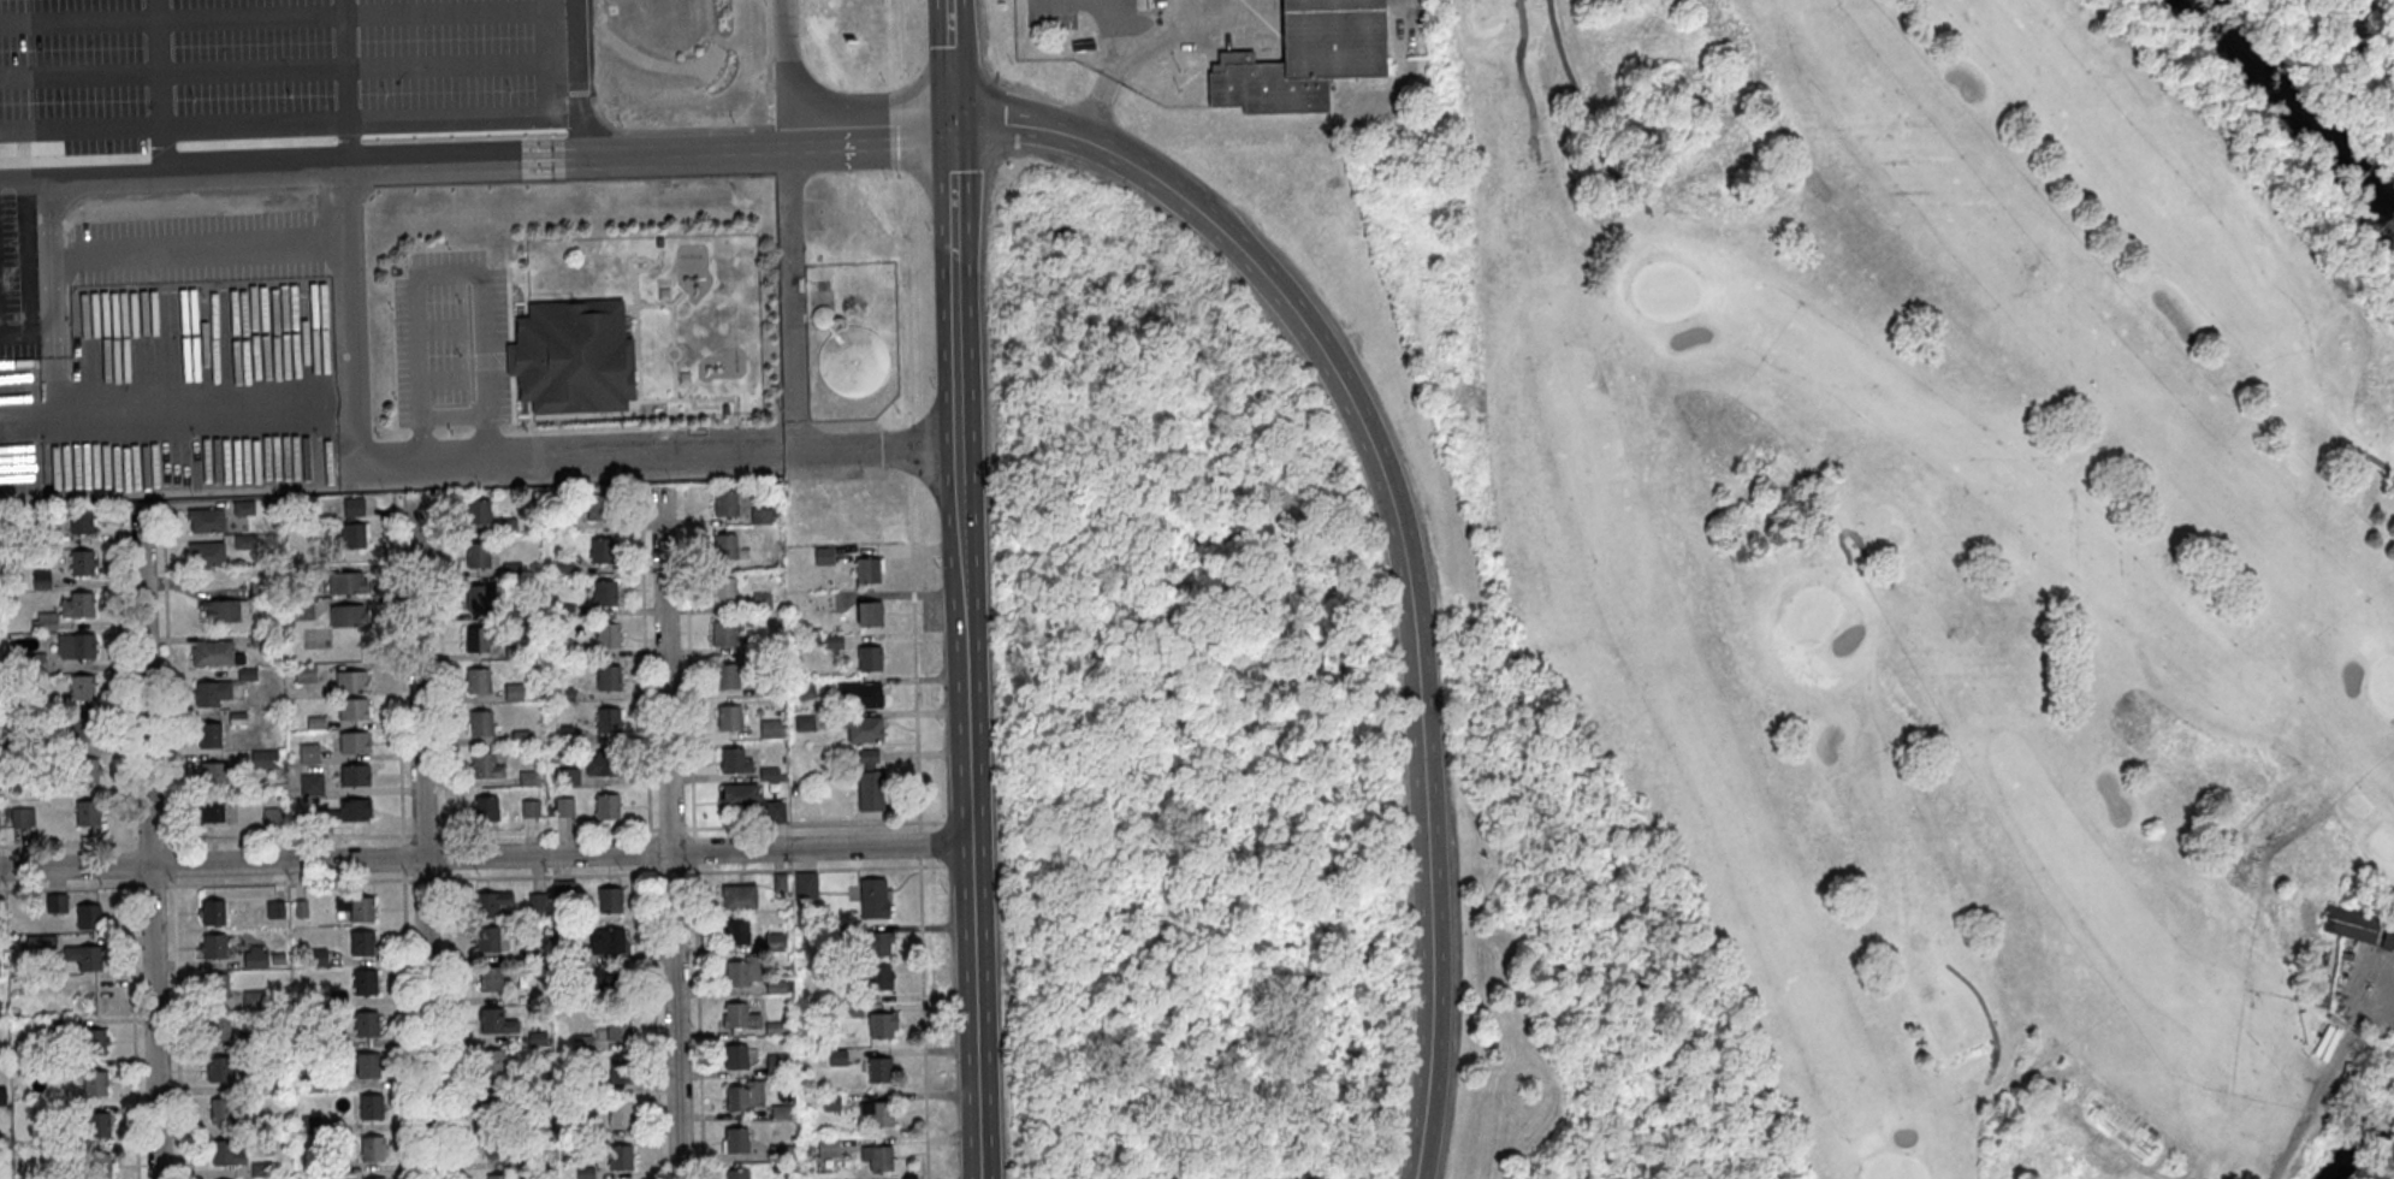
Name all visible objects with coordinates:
road: (1109, 0)
road: (1079, 1)
parking lot: (1049, 22)
road: (1125, 25)
road: (1231, 26)
road: (22, 36)
road: (1398, 36)
road: (952, 59)
road: (1128, 60)
building: (1305, 60)
road: (1521, 71)
road: (22, 76)
road: (1577, 103)
river: (2293, 112)
parking lot: (261, 113)
road: (22, 119)
road: (553, 158)
road: (954, 185)
street lamp: (1132, 188)
road: (36, 201)
road: (28, 235)
building: (659, 245)
road: (450, 274)
street lamp: (1234, 274)
road: (49, 283)
road: (793, 302)
road: (354, 314)
building: (849, 357)
building: (573, 361)
street lamp: (1315, 389)
building: (724, 409)
road: (878, 451)
road: (788, 454)
road: (960, 454)
road: (2365, 456)
road: (352, 463)
building: (725, 505)
building: (244, 508)
building: (268, 508)
building: (599, 508)
building: (479, 513)
building: (762, 516)
building: (206, 520)
building: (81, 521)
building: (352, 523)
building: (563, 523)
building: (506, 525)
road: (1395, 529)
park: (1956, 535)
building: (47, 537)
building: (244, 541)
building: (724, 547)
building: (602, 551)
building: (207, 553)
building: (478, 555)
building: (824, 556)
building: (81, 563)
building: (563, 567)
building: (512, 569)
building: (867, 570)
building: (41, 580)
building: (346, 582)
road: (912, 588)
building: (260, 591)
building: (725, 591)
building: (604, 593)
building: (478, 597)
building: (825, 599)
building: (762, 603)
building: (77, 605)
building: (515, 609)
building: (219, 610)
building: (302, 610)
building: (870, 614)
building: (348, 616)
building: (45, 622)
building: (724, 634)
building: (608, 635)
building: (261, 639)
building: (476, 639)
building: (832, 642)
building: (76, 647)
building: (564, 648)
building: (515, 652)
building: (215, 653)
building: (870, 658)
building: (247, 674)
building: (306, 674)
building: (727, 676)
road: (167, 677)
road: (124, 679)
building: (609, 679)
building: (351, 680)
building: (478, 681)
building: (769, 687)
building: (82, 688)
building: (804, 689)
building: (514, 692)
building: (212, 693)
building: (564, 694)
building: (861, 695)
building: (354, 709)
park: (1294, 717)
building: (237, 719)
building: (730, 719)
building: (608, 721)
building: (20, 722)
building: (480, 722)
building: (804, 723)
building: (316, 724)
building: (861, 728)
building: (770, 729)
building: (82, 730)
building: (564, 734)
building: (209, 735)
building: (520, 736)
building: (354, 741)
road: (966, 750)
building: (309, 753)
building: (867, 754)
building: (265, 759)
building: (735, 762)
building: (603, 763)
building: (486, 765)
building: (85, 771)
building: (212, 774)
building: (768, 774)
building: (355, 775)
building: (568, 776)
building: (527, 778)
building: (312, 784)
building: (870, 789)
building: (739, 794)
building: (606, 805)
building: (563, 806)
building: (486, 807)
building: (529, 808)
building: (212, 810)
building: (87, 812)
building: (343, 812)
building: (775, 812)
building: (22, 818)
building: (272, 822)
road: (647, 831)
road: (668, 833)
road: (692, 833)
road: (401, 836)
road: (421, 837)
road: (445, 837)
road: (148, 841)
road: (484, 857)
road: (172, 861)
road: (129, 864)
street lamp: (180, 876)
building: (778, 882)
building: (805, 885)
building: (563, 893)
building: (737, 895)
building: (872, 897)
building: (609, 900)
building: (491, 902)
building: (57, 903)
building: (537, 903)
building: (356, 907)
building: (301, 910)
building: (274, 911)
building: (213, 912)
building: (88, 916)
building: (2345, 924)
building: (735, 930)
building: (839, 932)
building: (487, 938)
building: (2383, 938)
building: (606, 941)
building: (41, 942)
building: (774, 942)
building: (362, 943)
building: (877, 943)
building: (213, 946)
building: (84, 956)
building: (569, 956)
building: (318, 958)
building: (278, 959)
building: (255, 960)
building: (735, 972)
building: (878, 977)
building: (490, 978)
building: (602, 979)
building: (365, 982)
building: (217, 985)
building: (774, 987)
building: (852, 994)
building: (91, 999)
building: (337, 1000)
building: (253, 1001)
building: (2316, 1001)
building: (851, 1011)
road: (972, 1012)
road: (1986, 1012)
building: (739, 1015)
building: (496, 1021)
building: (881, 1023)
building: (366, 1024)
building: (47, 1026)
road: (177, 1026)
building: (218, 1026)
road: (132, 1027)
building: (617, 1027)
building: (774, 1029)
building: (537, 1039)
building: (94, 1041)
building: (254, 1042)
building: (333, 1042)
building: (582, 1043)
building: (1, 1056)
building: (735, 1056)
building: (836, 1056)
building: (494, 1061)
building: (368, 1065)
building: (776, 1065)
building: (58, 1067)
building: (218, 1068)
building: (620, 1070)
building: (878, 1070)
road: (2322, 1076)
building: (517, 1078)
street lamp: (1404, 1082)
building: (94, 1083)
building: (310, 1083)
building: (253, 1088)
building: (585, 1088)
road: (2334, 1094)
building: (2, 1095)
building: (742, 1096)
building: (830, 1102)
building: (494, 1103)
building: (371, 1107)
building: (221, 1110)
building: (63, 1112)
building: (780, 1112)
building: (877, 1112)
building: (620, 1114)
road: (2372, 1116)
building: (97, 1125)
building: (310, 1125)
river: (2365, 1138)
building: (1, 1141)
building: (735, 1141)
building: (496, 1145)
building: (828, 1148)
building: (373, 1149)
building: (54, 1153)
building: (226, 1153)
building: (778, 1153)
building: (620, 1157)
building: (878, 1157)
building: (529, 1163)
building: (336, 1166)
building: (96, 1167)
building: (261, 1169)
building: (4, 1173)
building: (583, 1173)
building: (736, 1174)
building: (497, 1177)
building: (377, 1178)

